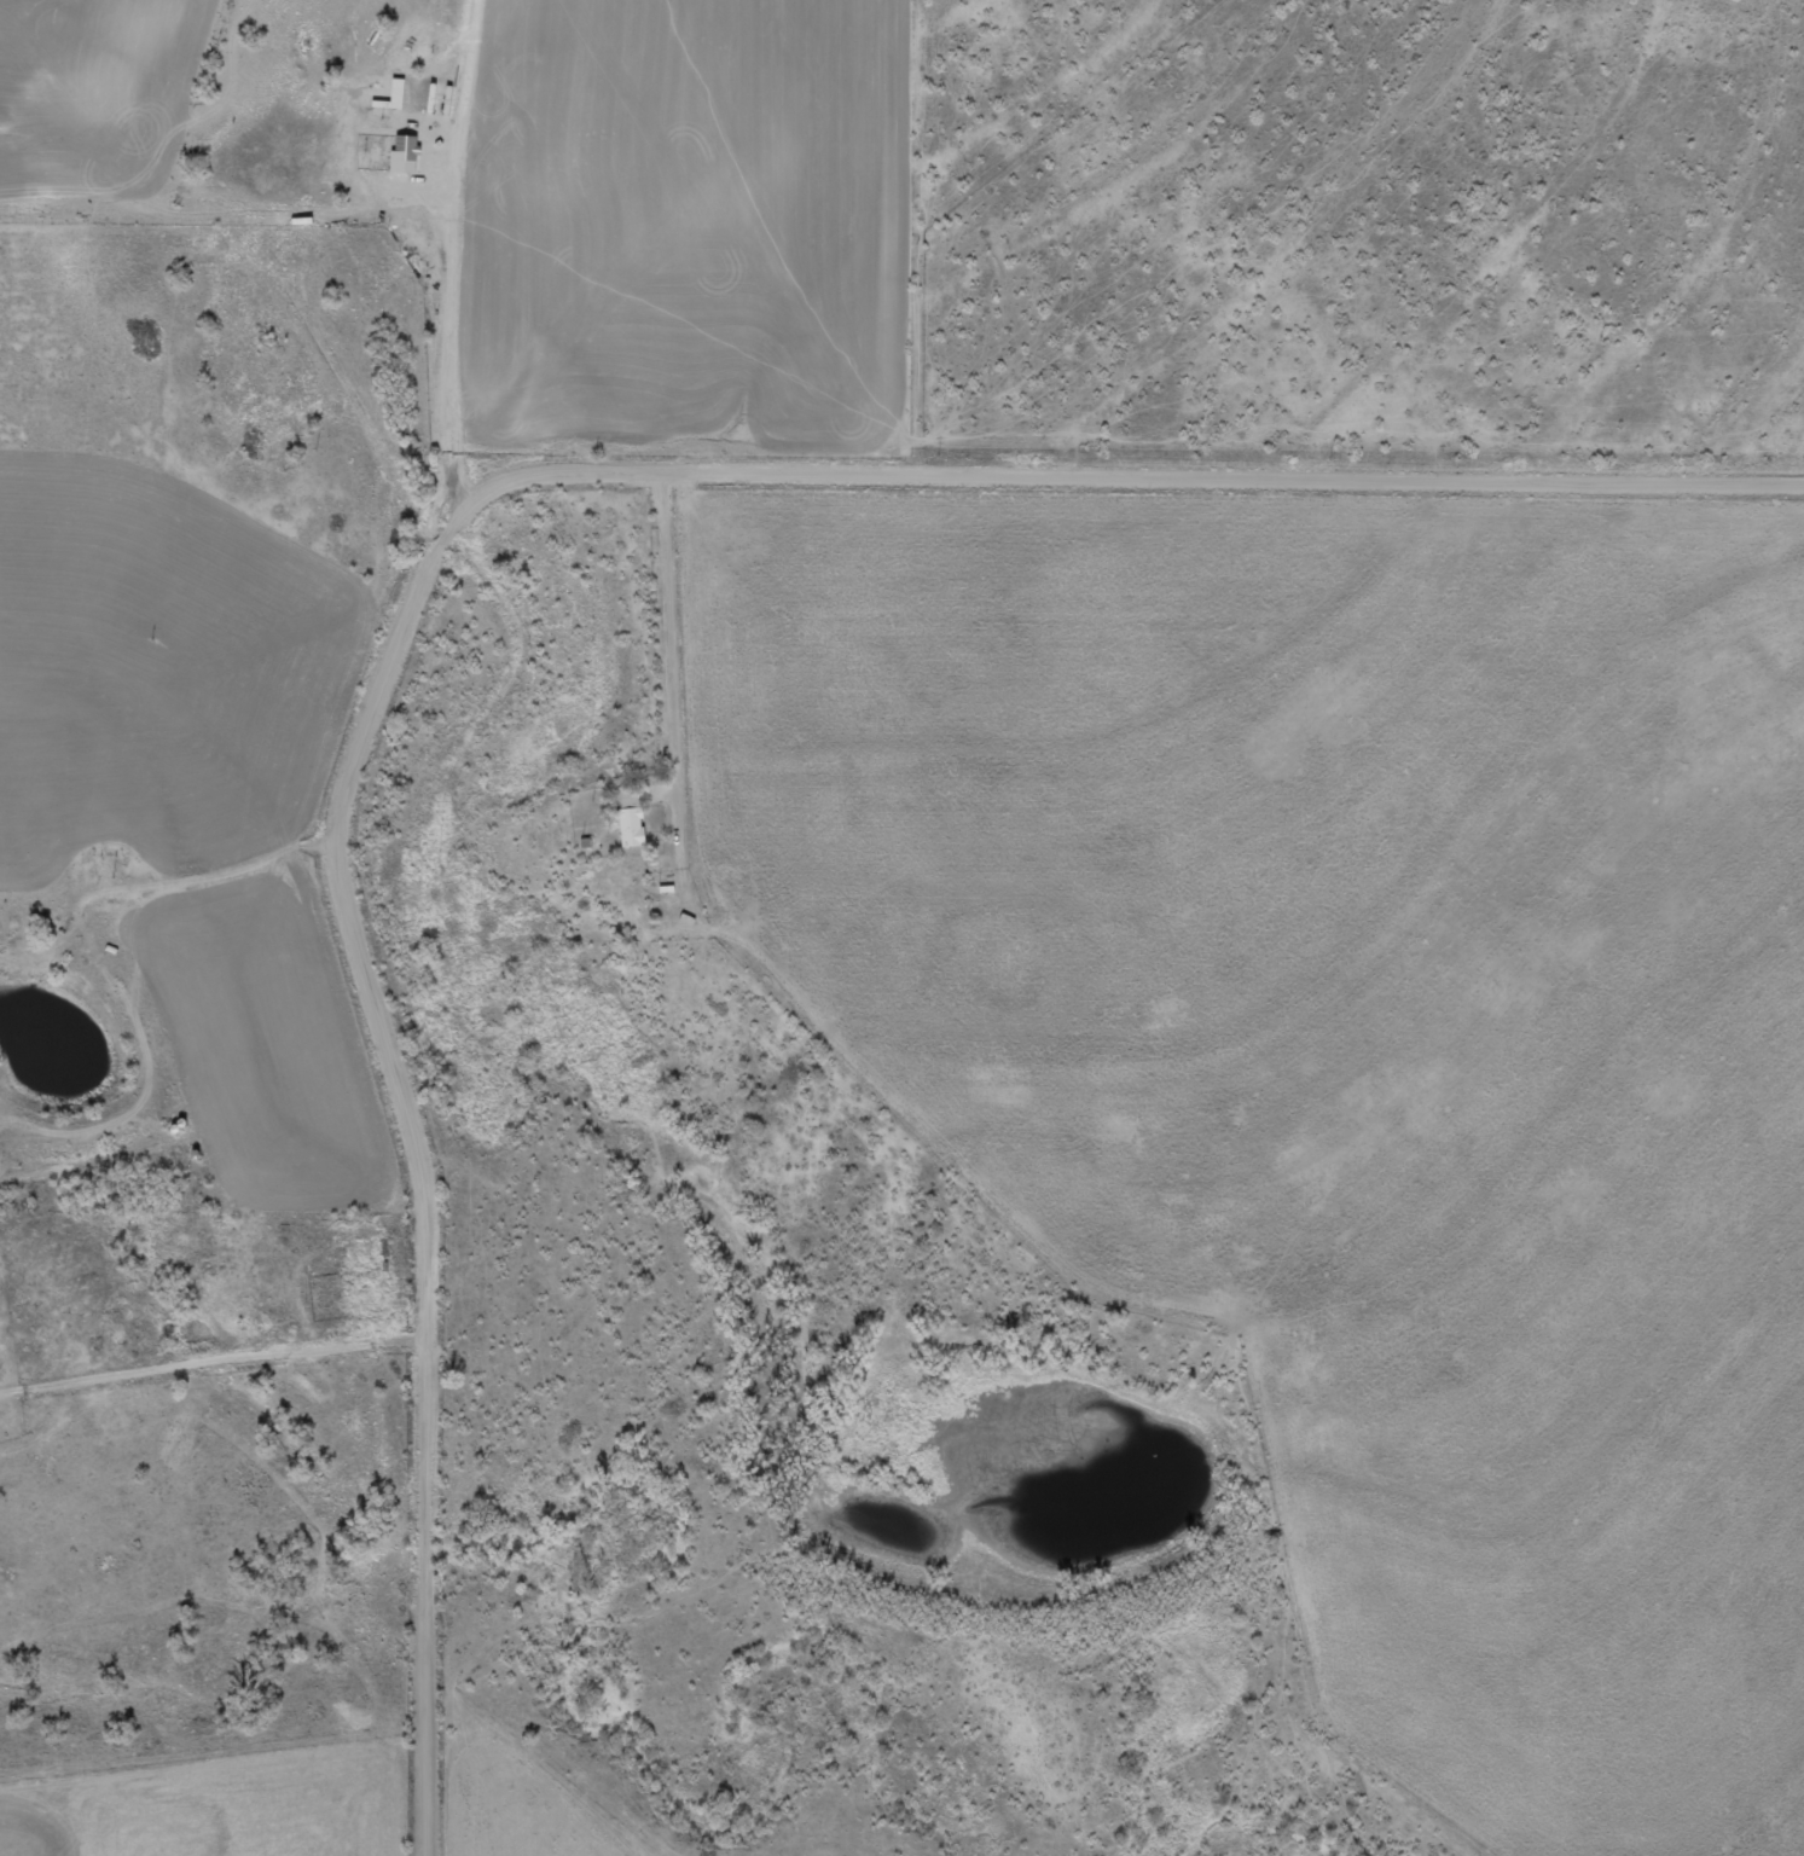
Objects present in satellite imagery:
building: (408, 151)
road: (447, 301)
road: (1130, 475)
road: (399, 498)
building: (634, 823)
road: (377, 1015)
building: (0, 1364)
road: (214, 1455)
road: (428, 1703)

